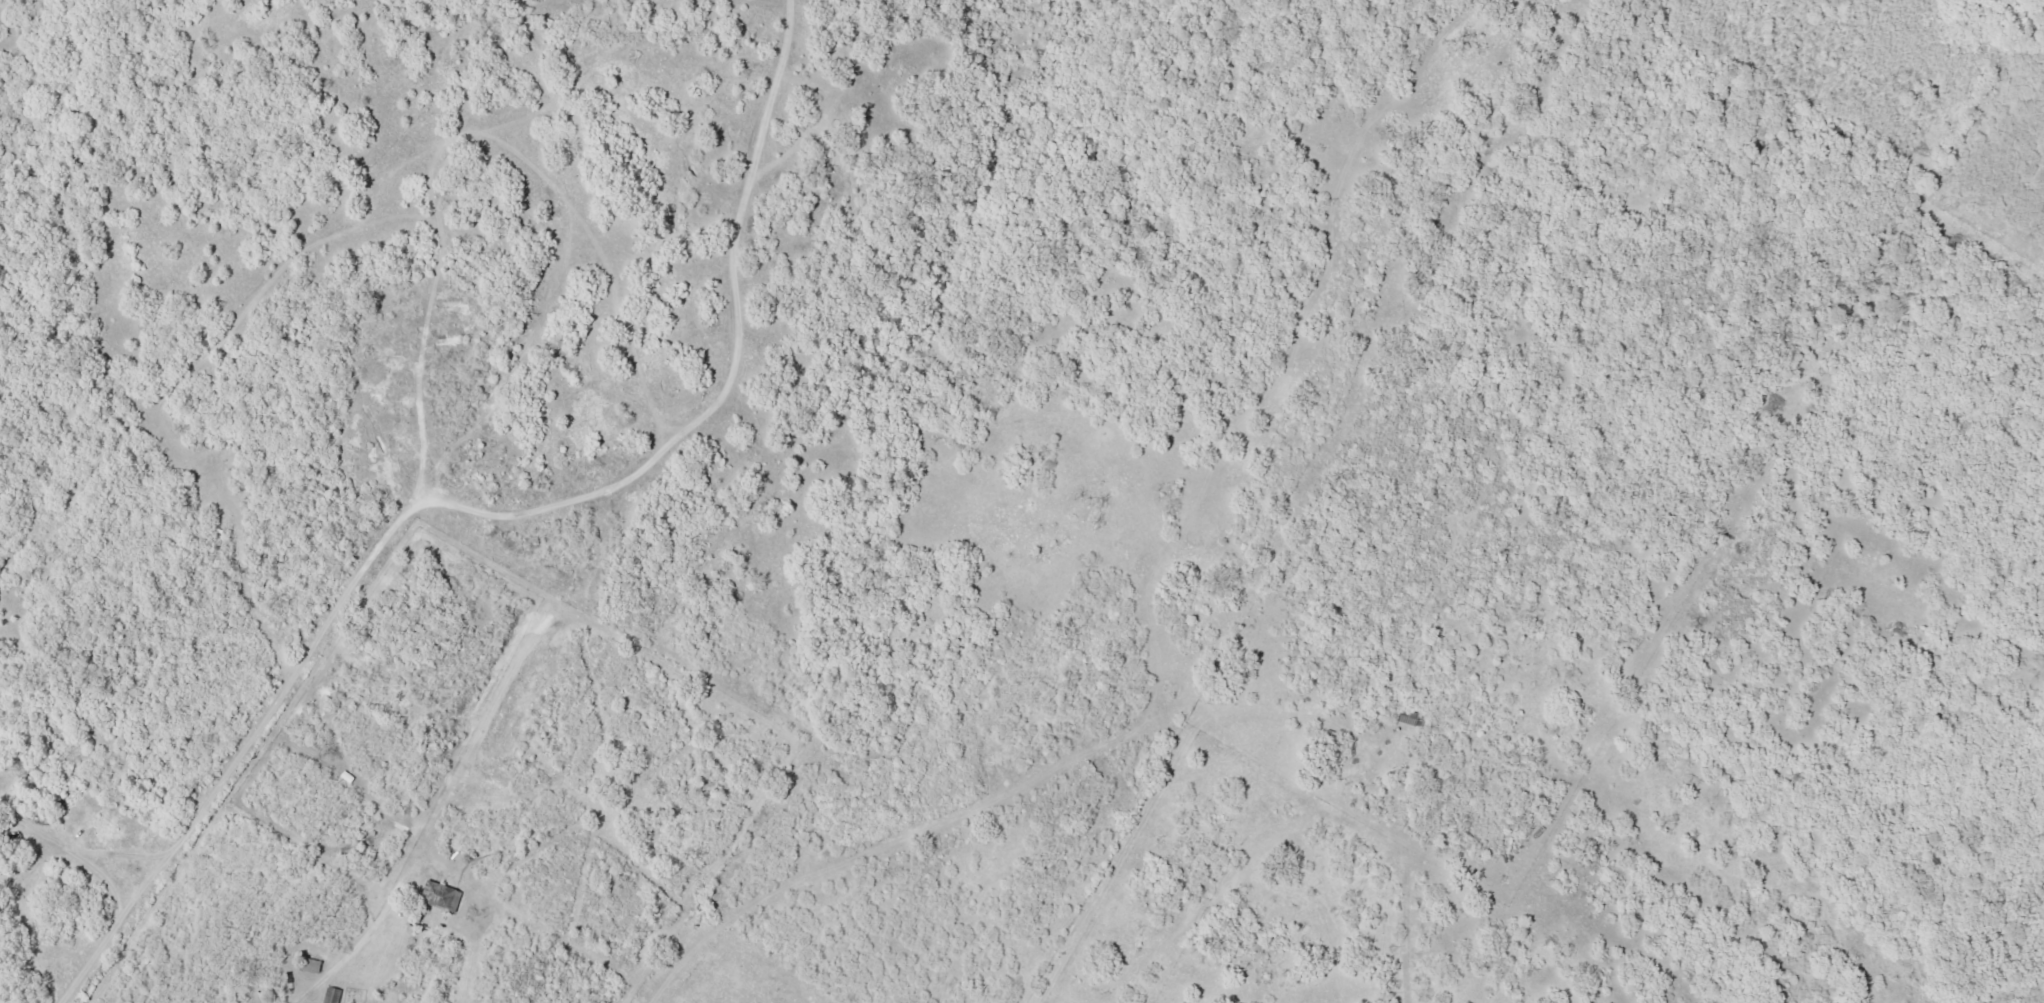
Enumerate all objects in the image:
road: (1514, 420)
road: (795, 687)
road: (1510, 843)
building: (440, 896)
building: (310, 965)
road: (2036, 988)
building: (331, 995)

